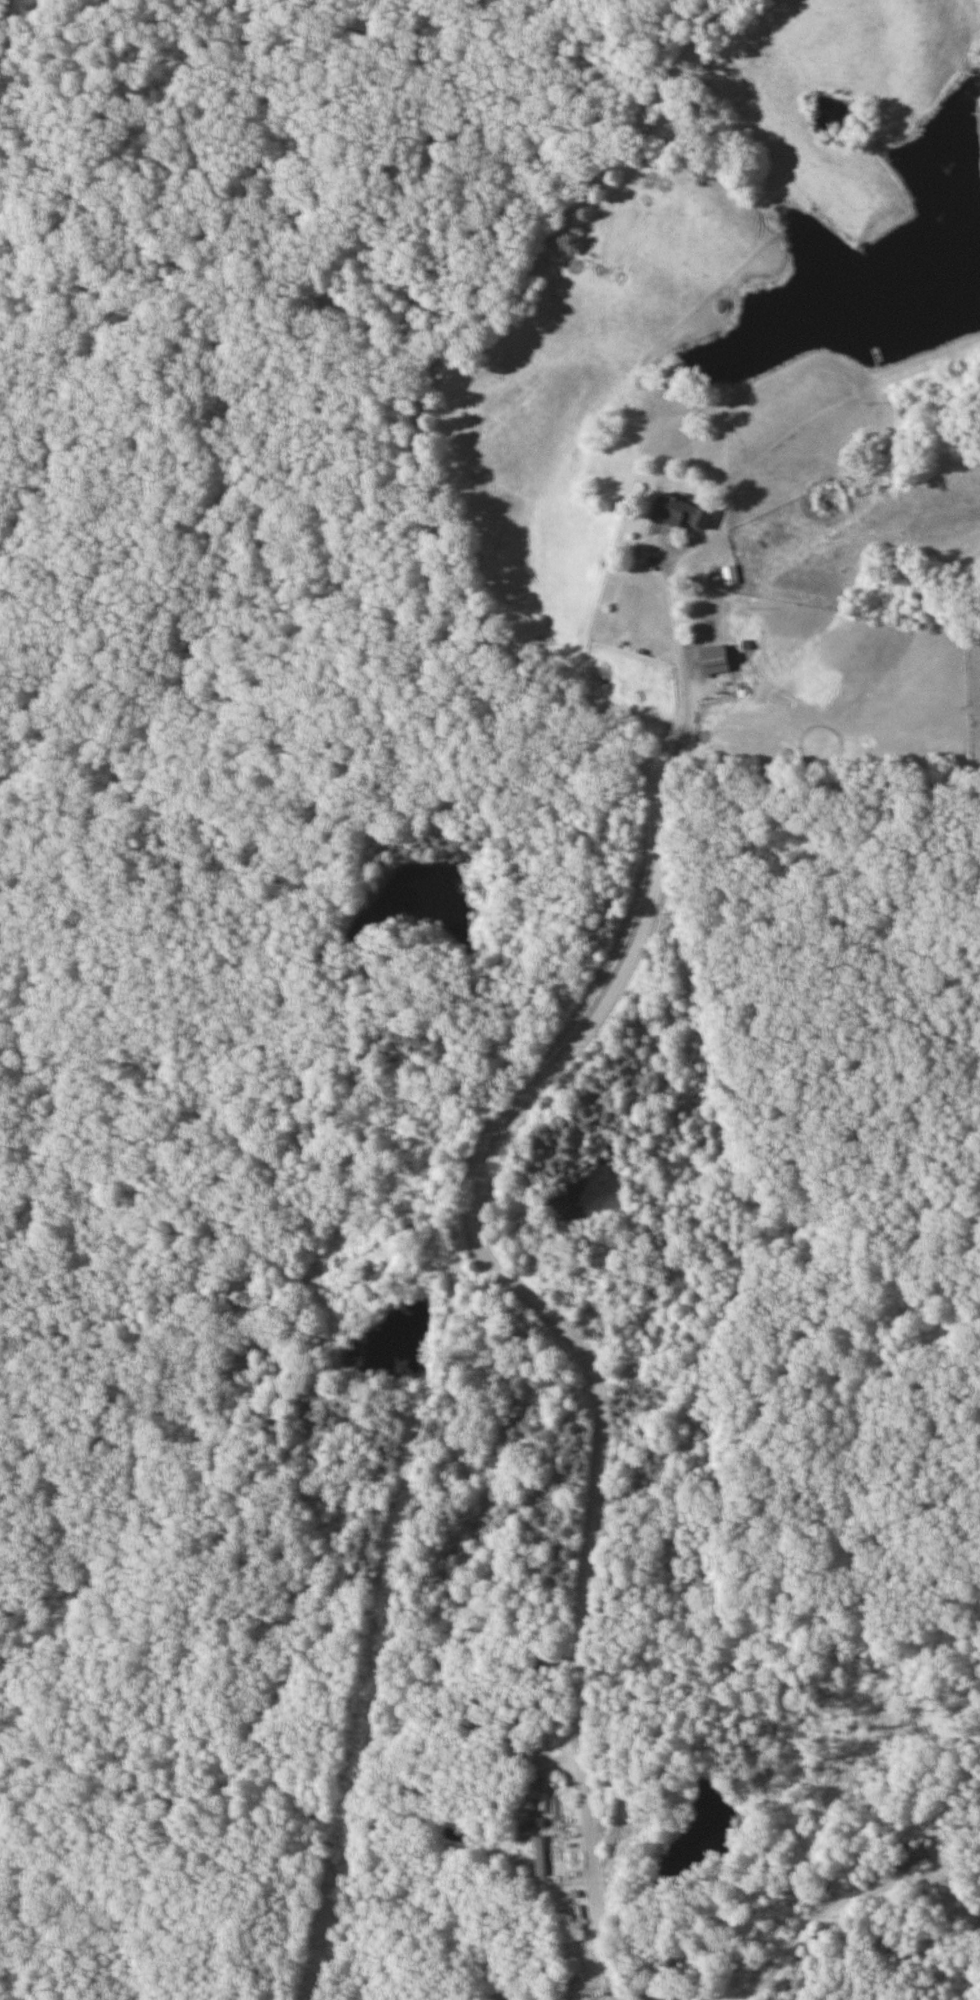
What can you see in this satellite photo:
road: (231, 285)
building: (677, 515)
building: (712, 662)
road: (685, 674)
road: (629, 951)
building: (538, 1857)
building: (910, 1858)
road: (794, 1934)

